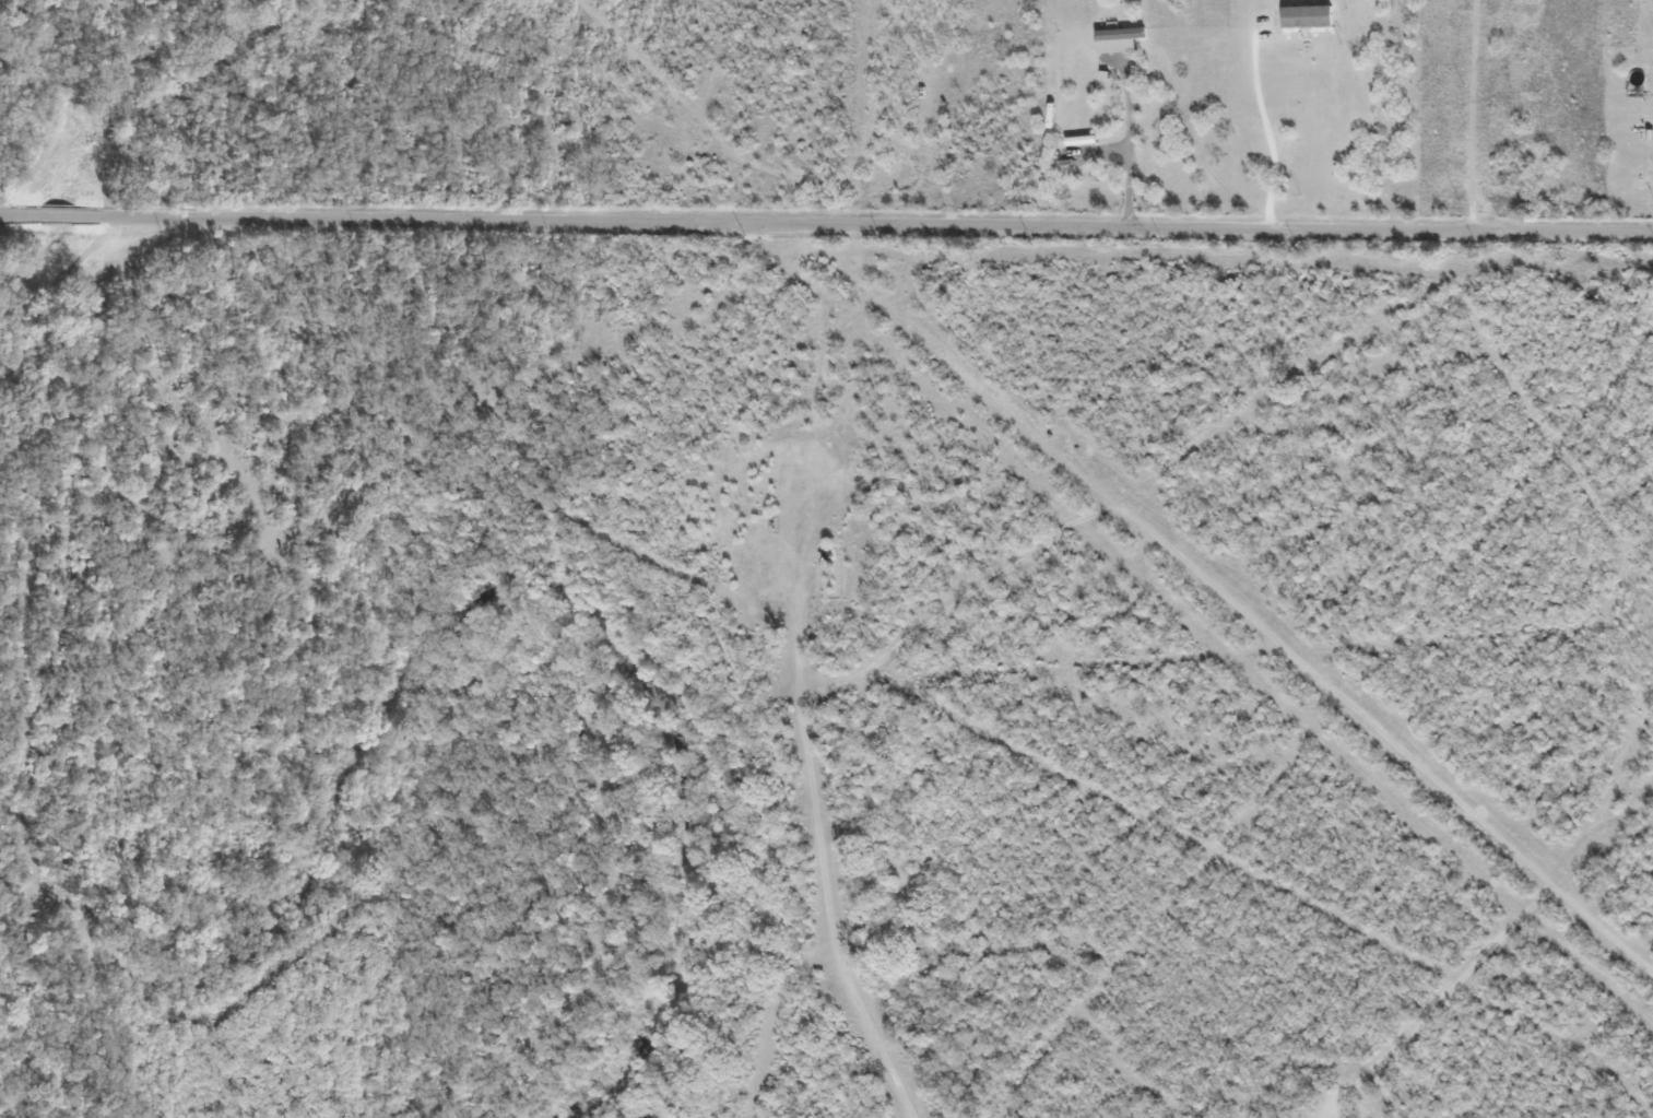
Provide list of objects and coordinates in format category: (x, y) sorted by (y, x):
building: (1306, 16)
road: (3, 213)
road: (98, 214)
road: (922, 223)

